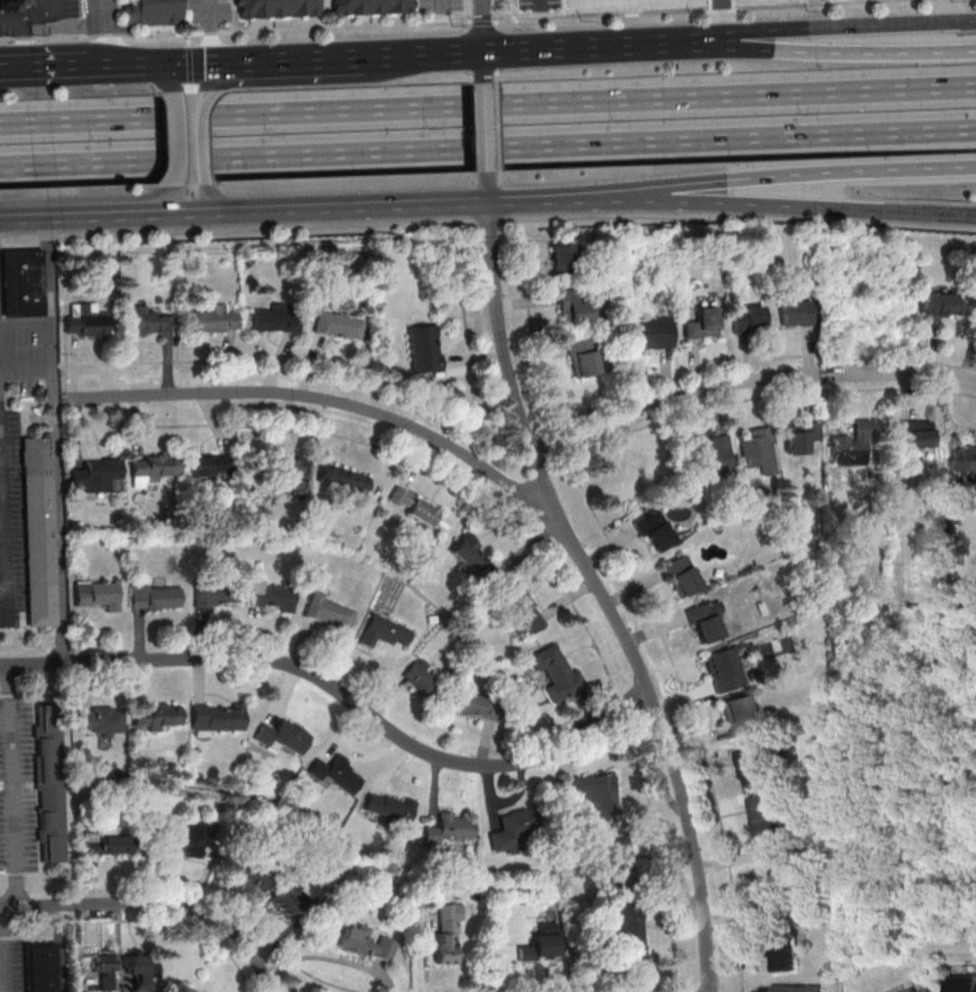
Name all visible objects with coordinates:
building: (8, 4)
road: (439, 4)
parking lot: (538, 4)
building: (370, 6)
building: (275, 7)
building: (151, 11)
road: (466, 11)
road: (417, 12)
road: (233, 16)
road: (717, 16)
road: (22, 18)
road: (448, 22)
road: (482, 25)
road: (826, 27)
parking lot: (6, 29)
road: (106, 32)
road: (210, 32)
road: (23, 41)
road: (581, 47)
road: (458, 52)
road: (827, 52)
road: (328, 58)
road: (122, 64)
road: (187, 64)
road: (46, 65)
road: (483, 66)
road: (165, 76)
road: (326, 79)
road: (488, 105)
road: (486, 127)
road: (203, 136)
road: (179, 140)
road: (487, 147)
road: (785, 175)
road: (488, 187)
road: (87, 198)
road: (216, 200)
road: (542, 200)
road: (786, 205)
road: (318, 207)
road: (99, 215)
road: (24, 217)
road: (739, 218)
road: (489, 221)
road: (267, 230)
road: (49, 238)
road: (21, 239)
road: (1, 240)
building: (562, 260)
road: (49, 266)
building: (21, 283)
building: (936, 307)
building: (572, 308)
building: (795, 313)
building: (973, 313)
building: (214, 320)
building: (273, 320)
building: (746, 320)
building: (86, 321)
building: (148, 322)
building: (702, 323)
building: (337, 326)
road: (34, 331)
building: (652, 333)
road: (533, 337)
building: (423, 348)
building: (582, 357)
parking lot: (25, 360)
road: (55, 365)
road: (26, 369)
road: (824, 373)
road: (816, 374)
road: (902, 374)
road: (356, 377)
road: (0, 397)
road: (0, 401)
road: (669, 402)
road: (346, 403)
building: (916, 434)
building: (799, 441)
building: (859, 442)
building: (758, 451)
road: (393, 452)
building: (713, 460)
building: (965, 463)
building: (210, 464)
building: (155, 467)
building: (295, 472)
building: (97, 474)
building: (343, 478)
road: (57, 498)
road: (4, 500)
building: (414, 505)
building: (952, 511)
road: (599, 521)
building: (39, 529)
building: (654, 532)
building: (471, 556)
building: (681, 576)
building: (97, 594)
building: (215, 594)
building: (270, 595)
road: (601, 595)
building: (155, 597)
building: (523, 608)
building: (328, 612)
building: (704, 622)
building: (383, 632)
building: (724, 671)
building: (554, 672)
building: (423, 680)
road: (1, 695)
road: (9, 695)
road: (28, 695)
road: (340, 695)
building: (472, 704)
road: (620, 704)
road: (573, 715)
building: (156, 716)
building: (739, 716)
building: (217, 718)
building: (100, 720)
building: (281, 736)
building: (751, 766)
building: (336, 775)
building: (48, 783)
road: (14, 787)
building: (593, 792)
building: (388, 806)
building: (763, 815)
building: (449, 829)
building: (513, 832)
building: (187, 840)
building: (108, 844)
road: (658, 849)
building: (618, 859)
road: (38, 872)
road: (15, 873)
road: (4, 874)
building: (246, 875)
building: (286, 900)
road: (154, 904)
road: (228, 910)
road: (172, 919)
road: (56, 924)
building: (447, 931)
building: (630, 933)
road: (27, 936)
building: (364, 941)
building: (541, 944)
building: (784, 957)
building: (39, 967)
building: (139, 969)
building: (104, 971)
building: (962, 983)
building: (796, 988)
road: (573, 989)
building: (911, 990)
building: (926, 990)

